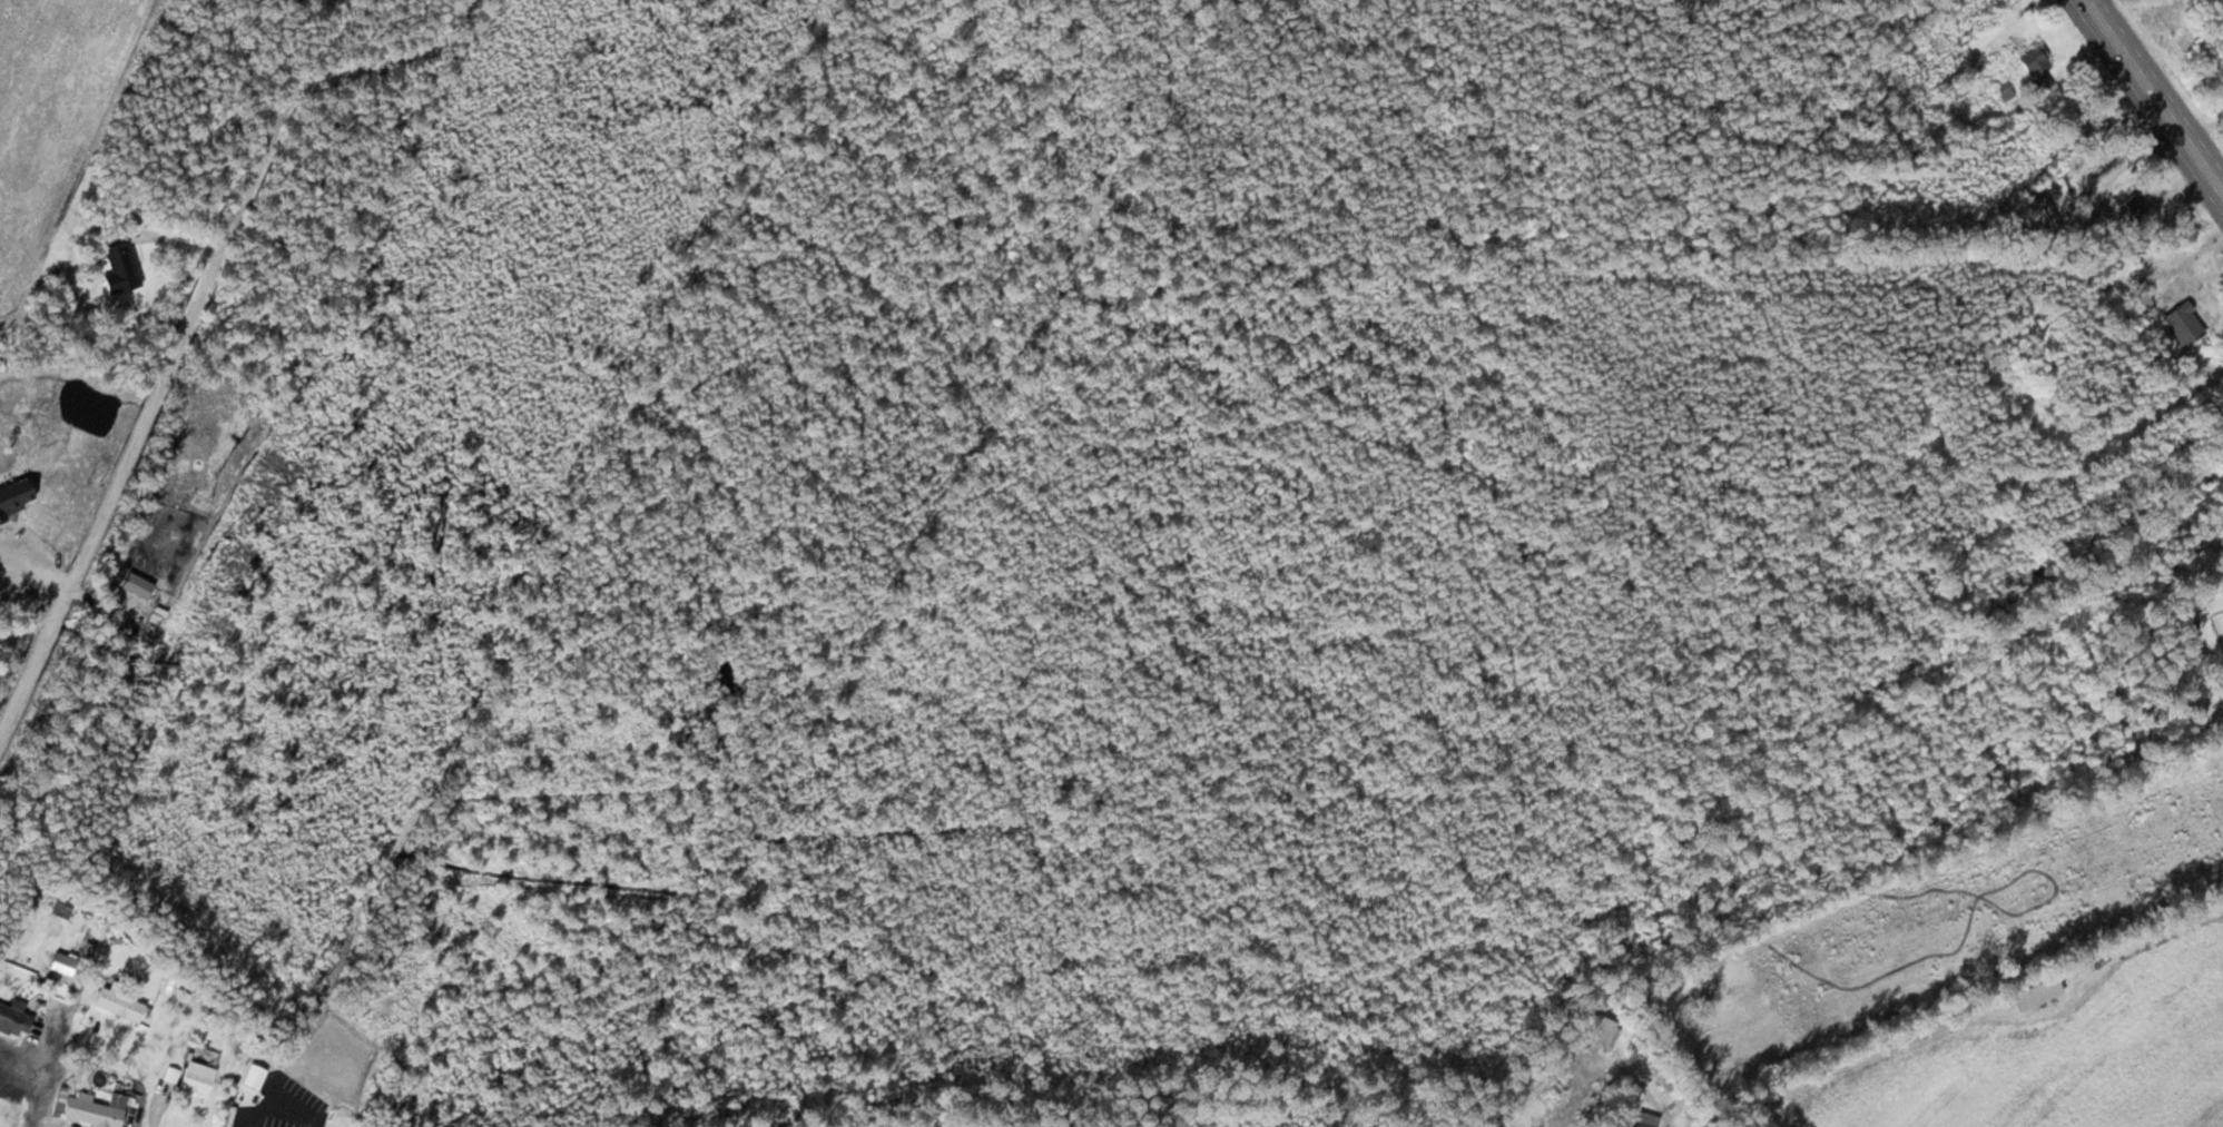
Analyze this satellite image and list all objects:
building: (2193, 1)
building: (1955, 90)
road: (2158, 90)
building: (2101, 164)
building: (2133, 208)
building: (117, 264)
building: (2183, 324)
road: (1131, 569)
building: (62, 906)
building: (62, 975)
road: (153, 990)
building: (118, 1005)
building: (14, 1018)
building: (1599, 1031)
building: (191, 1077)
road: (1652, 1085)
building: (90, 1111)
building: (1639, 1119)

